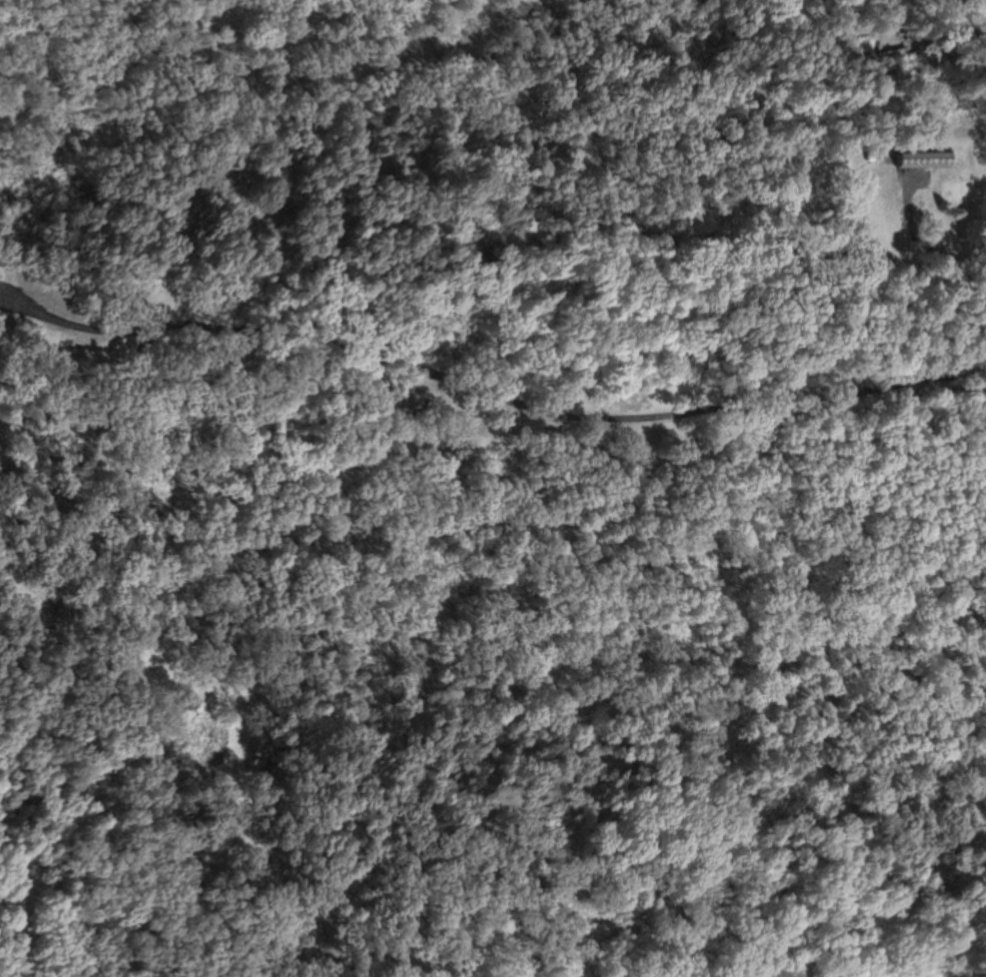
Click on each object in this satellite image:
building: (928, 132)
building: (917, 159)
road: (916, 245)
road: (488, 395)
building: (405, 404)

